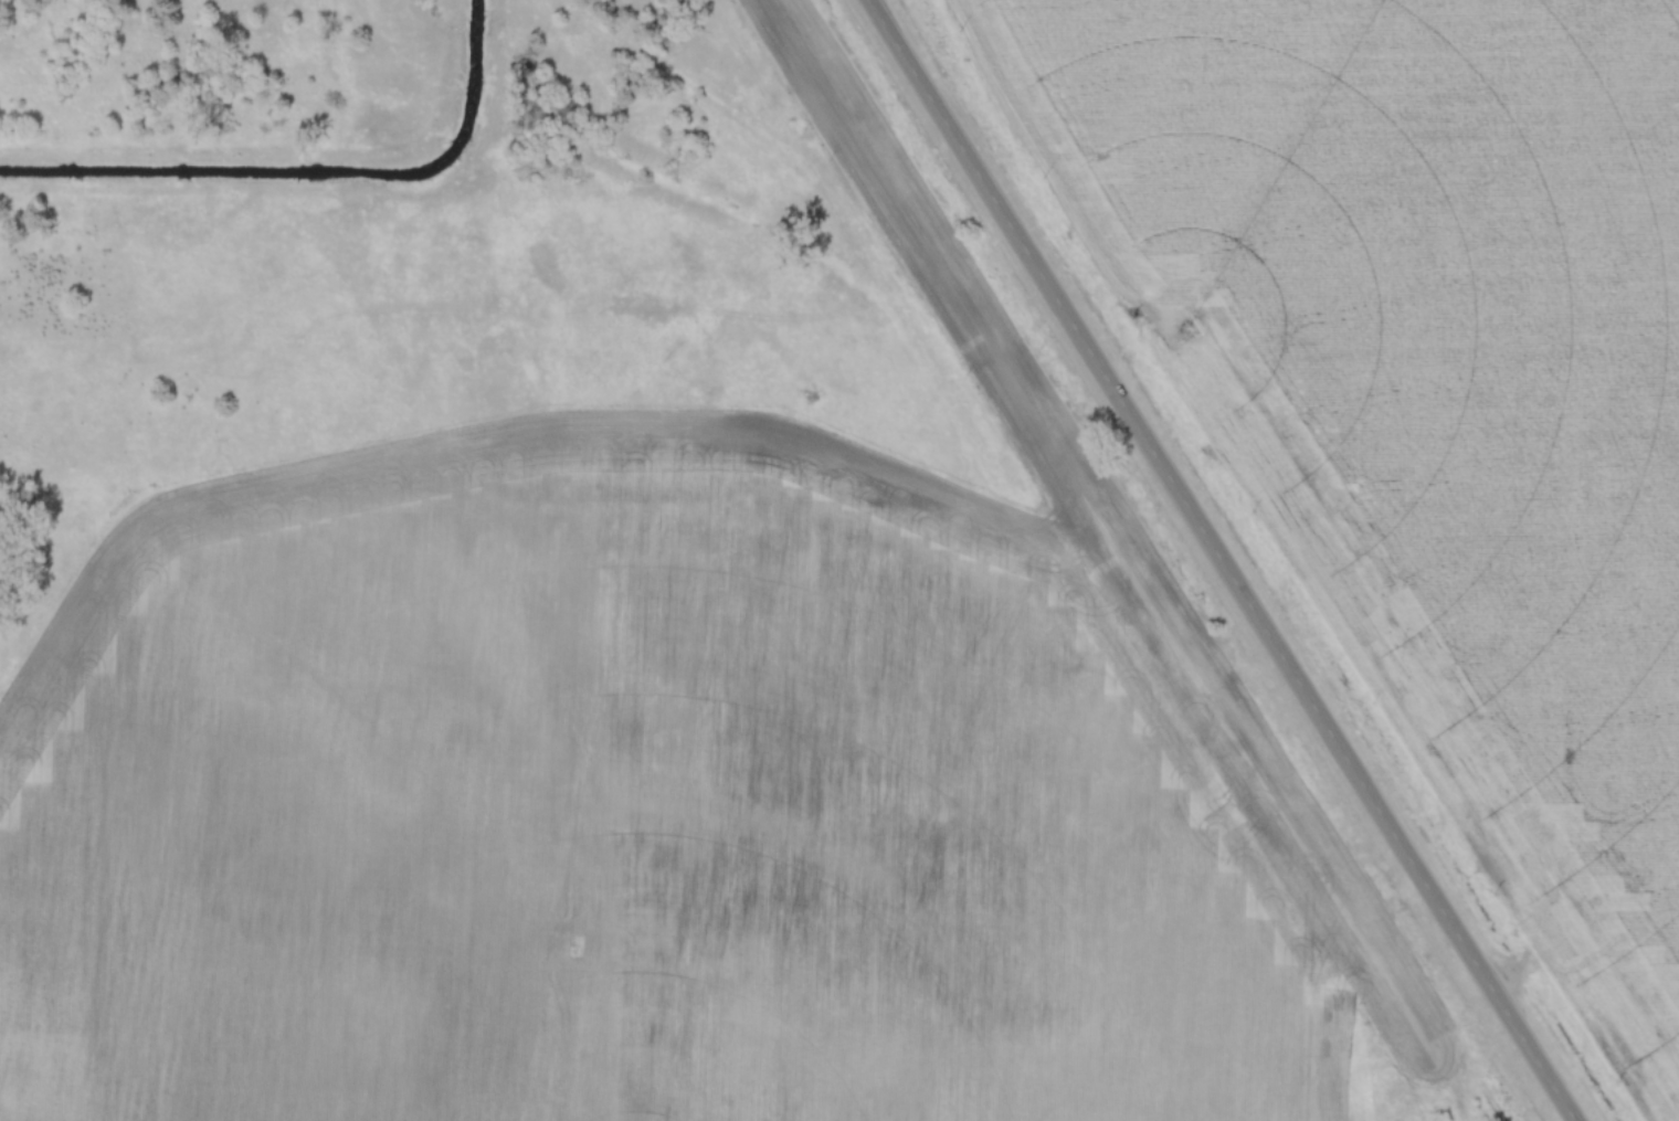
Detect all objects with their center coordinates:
road: (1218, 561)

